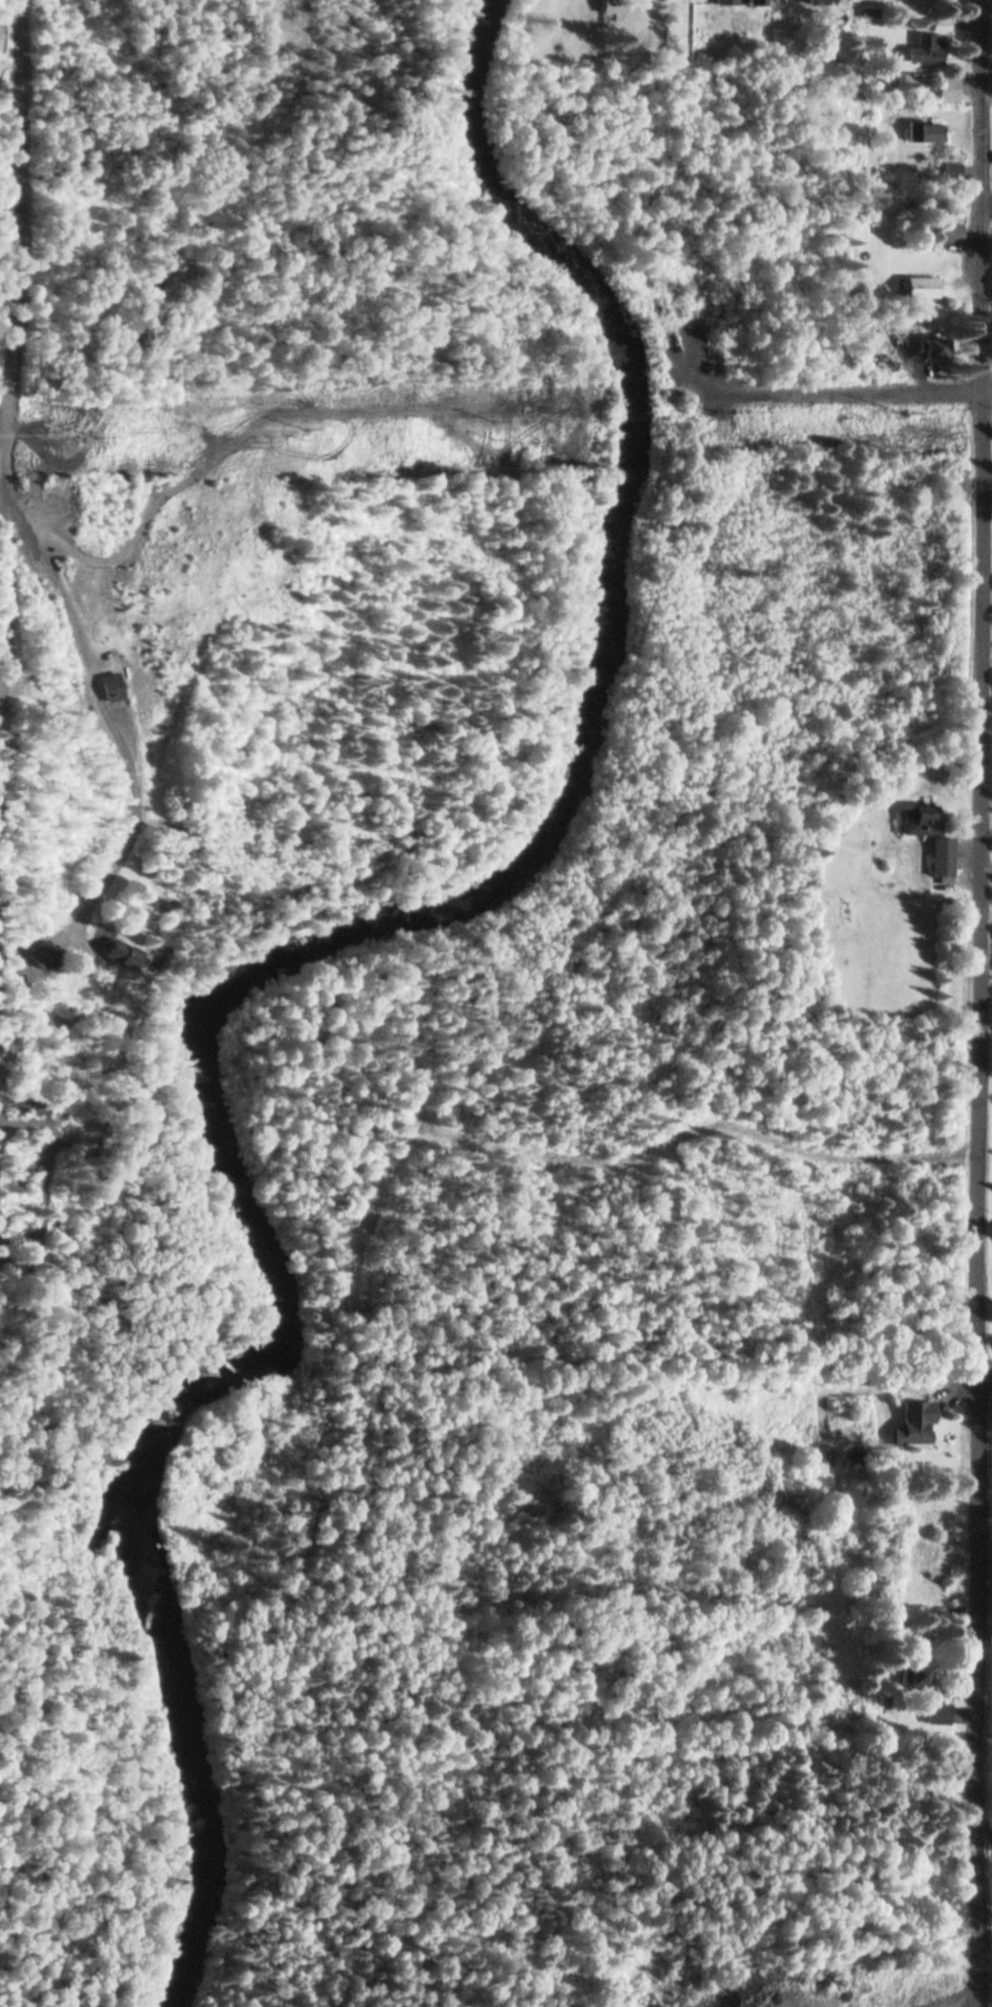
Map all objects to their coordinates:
building: (726, 2)
building: (754, 2)
building: (818, 2)
building: (610, 7)
building: (939, 25)
building: (928, 49)
building: (944, 89)
building: (925, 133)
building: (951, 173)
road: (986, 204)
building: (950, 235)
building: (921, 288)
building: (932, 349)
road: (853, 397)
building: (107, 686)
road: (978, 687)
building: (919, 820)
building: (939, 856)
river: (403, 940)
building: (38, 953)
building: (113, 953)
road: (983, 1373)
building: (912, 1424)
building: (915, 1674)
road: (973, 1690)
building: (935, 1713)
river: (185, 1906)

